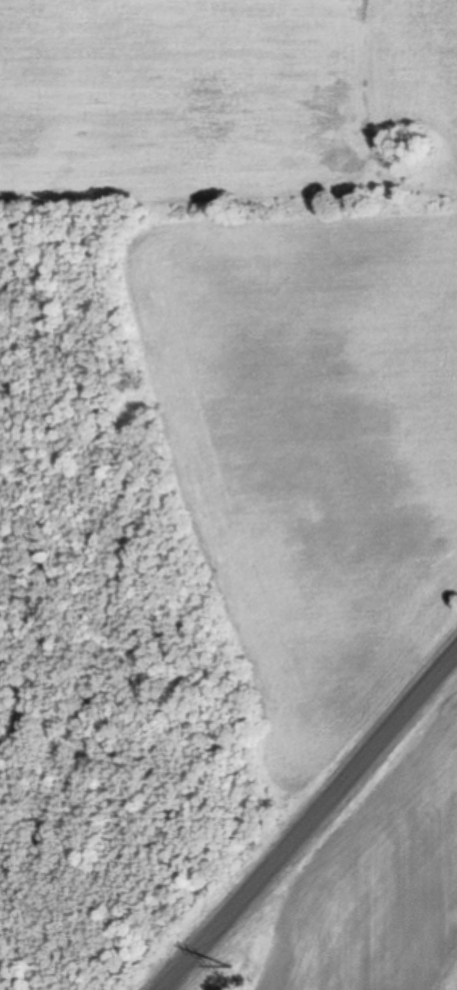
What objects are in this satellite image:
road: (308, 821)
crop: (371, 876)
power tower: (232, 967)

